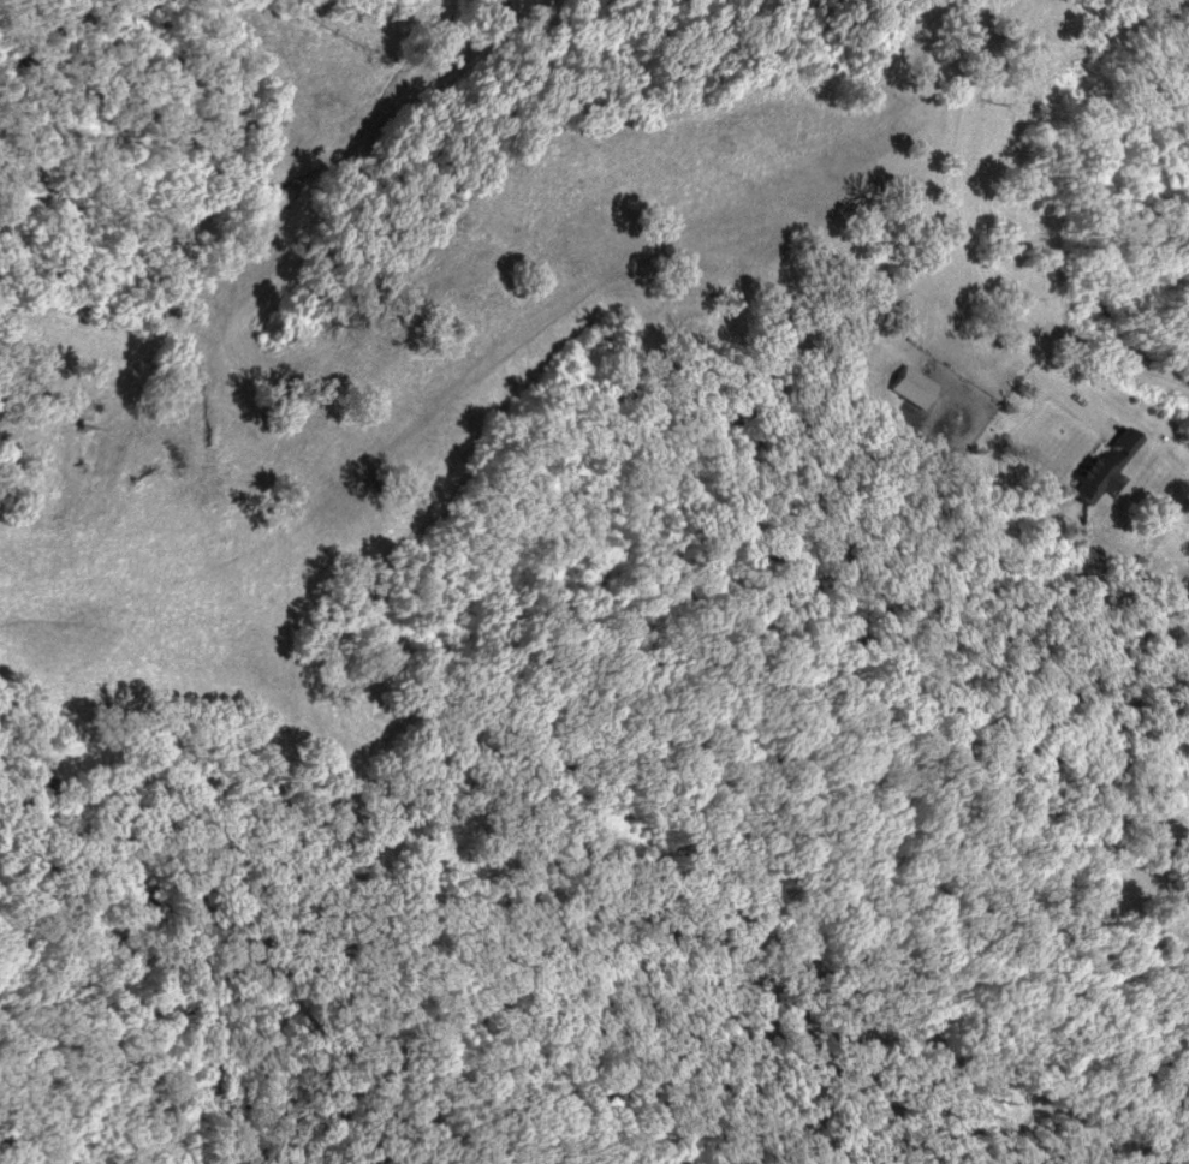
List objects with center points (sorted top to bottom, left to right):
road: (958, 197)
building: (908, 386)
building: (1096, 466)

